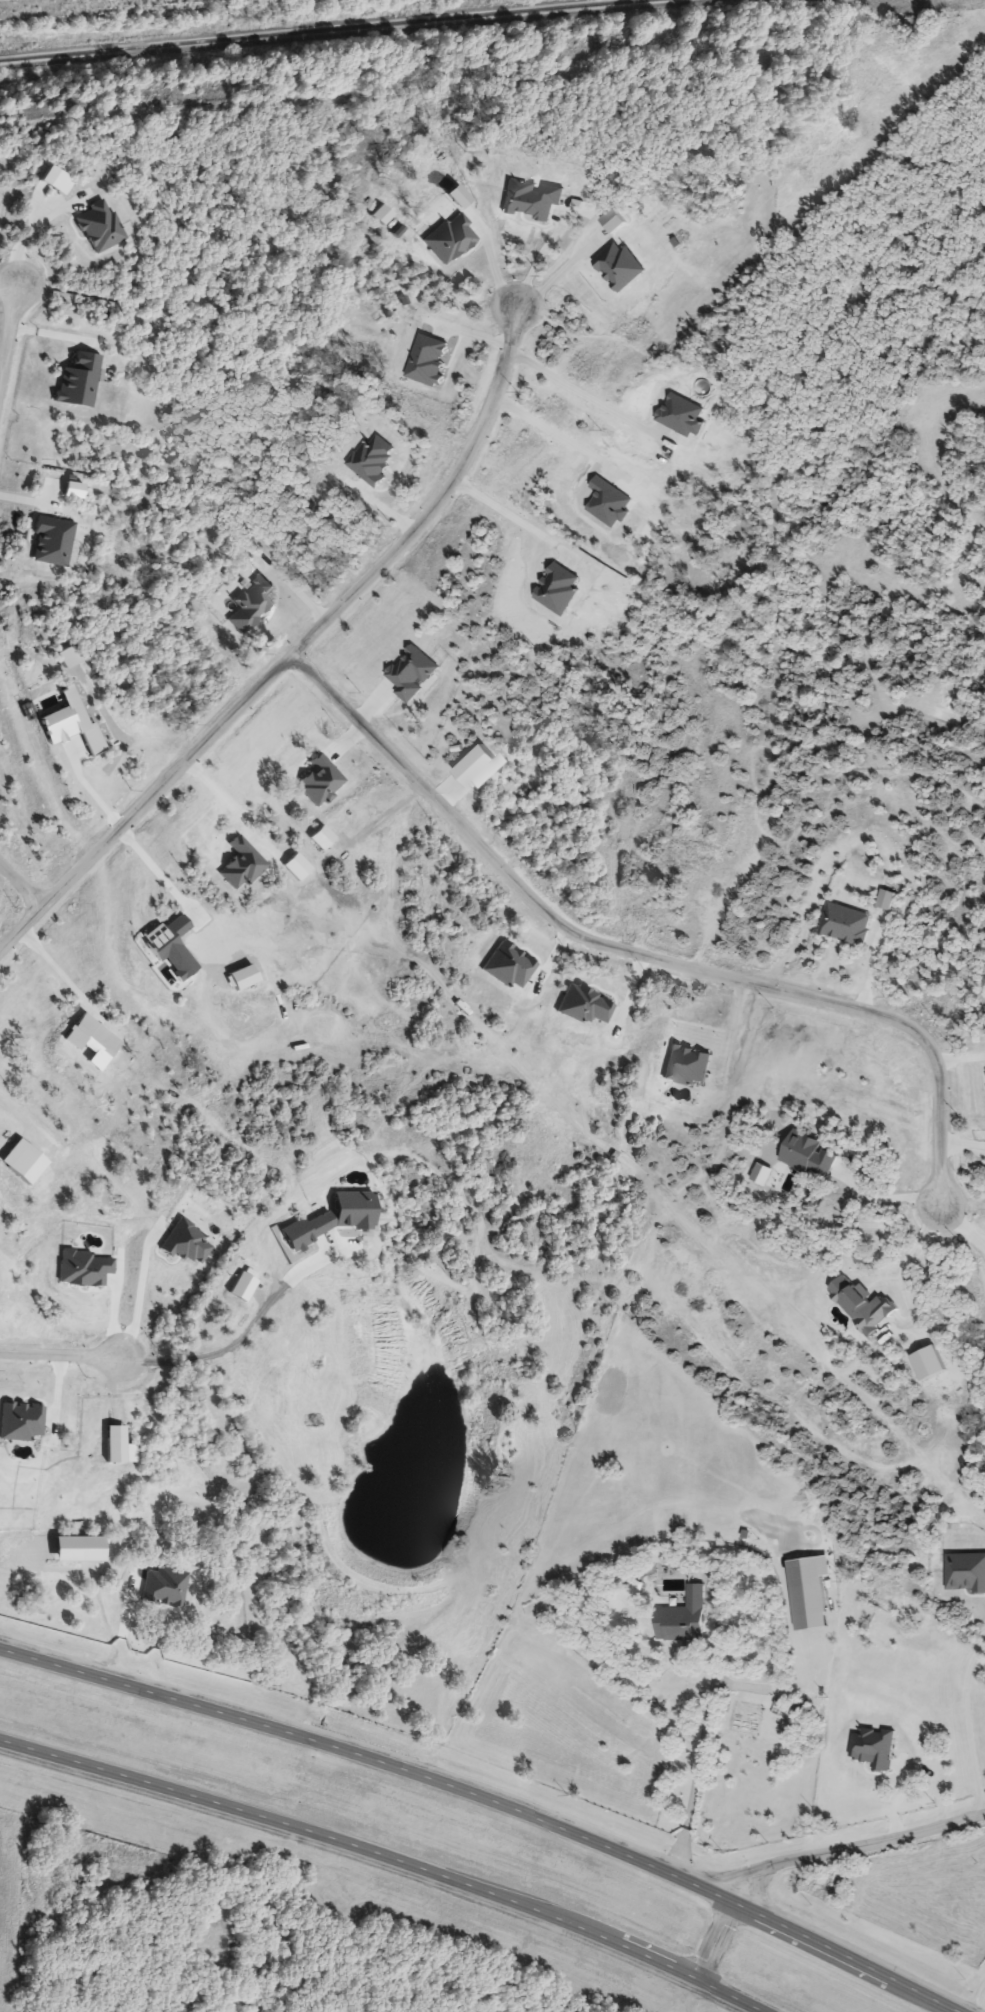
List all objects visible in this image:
railway: (328, 30)
road: (27, 234)
road: (558, 270)
road: (5, 316)
road: (568, 382)
road: (555, 432)
road: (496, 498)
road: (292, 647)
road: (86, 785)
road: (222, 797)
road: (153, 866)
road: (19, 884)
road: (636, 951)
road: (55, 966)
road: (730, 1022)
road: (25, 1117)
road: (883, 1198)
road: (958, 1221)
road: (900, 1267)
road: (140, 1289)
road: (247, 1327)
road: (59, 1353)
building: (202, 1582)
building: (681, 1617)
building: (903, 1631)
road: (970, 1725)
road: (698, 1742)
road: (313, 1746)
road: (355, 1843)
road: (886, 1843)
road: (680, 1877)
road: (757, 1878)
road: (719, 1940)
road: (849, 1957)
road: (732, 1995)

